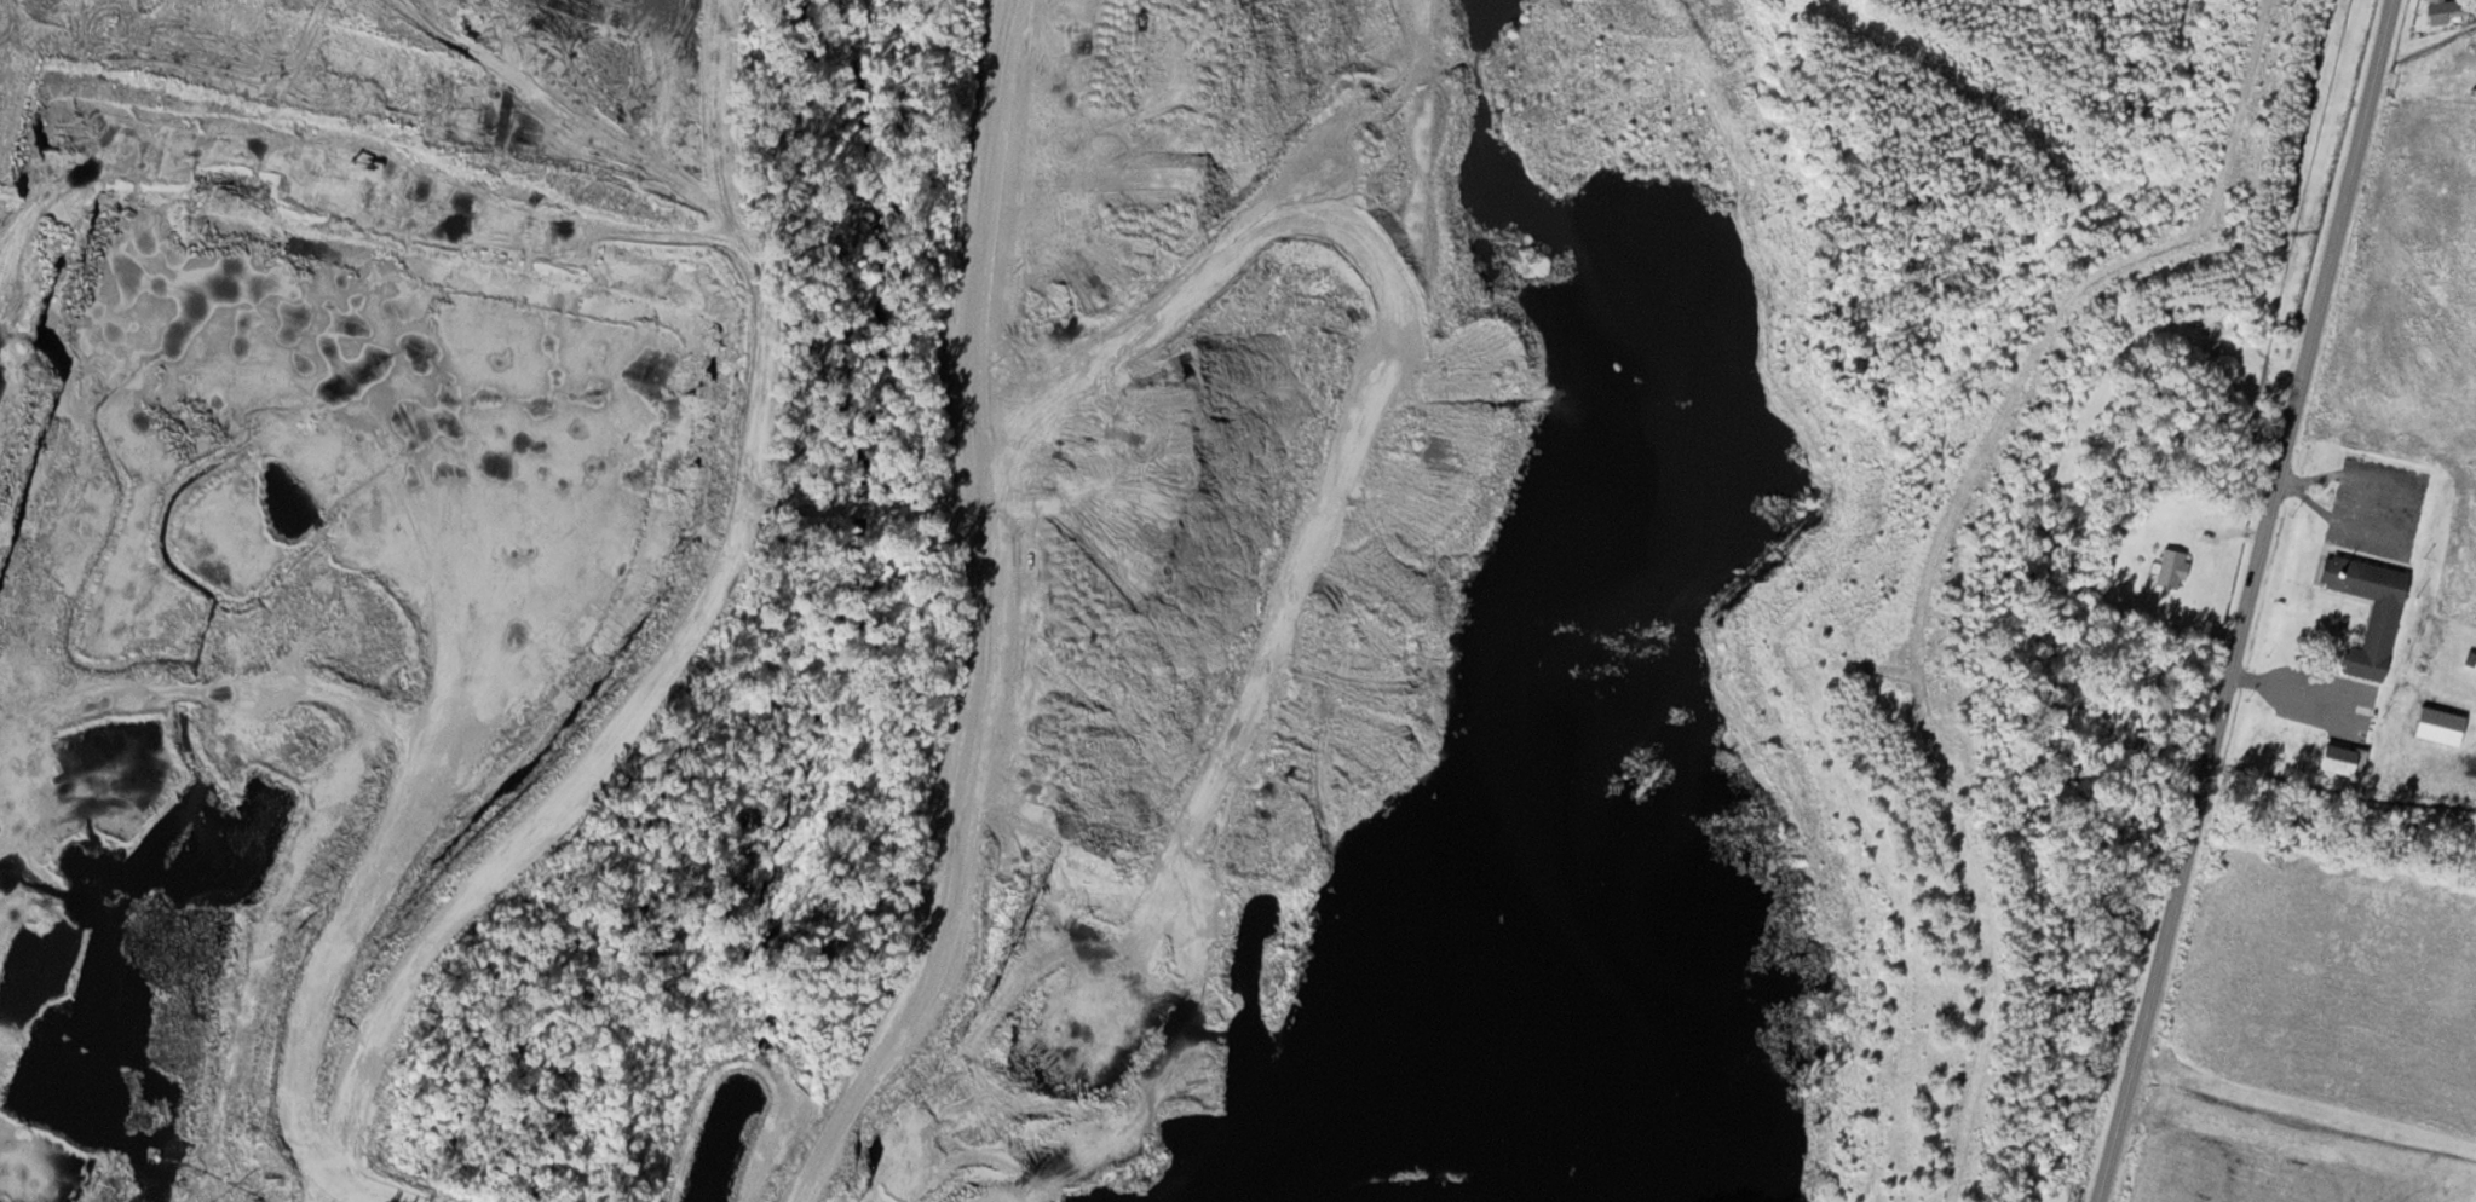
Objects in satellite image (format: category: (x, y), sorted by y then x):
building: (2446, 11)
crop: (2422, 304)
parking lot: (2378, 507)
road: (2409, 512)
building: (2169, 570)
road: (2242, 600)
building: (2382, 620)
quarry: (1369, 636)
road: (2296, 690)
parking lot: (2324, 698)
building: (2452, 735)
building: (2344, 758)
quarry: (258, 873)

